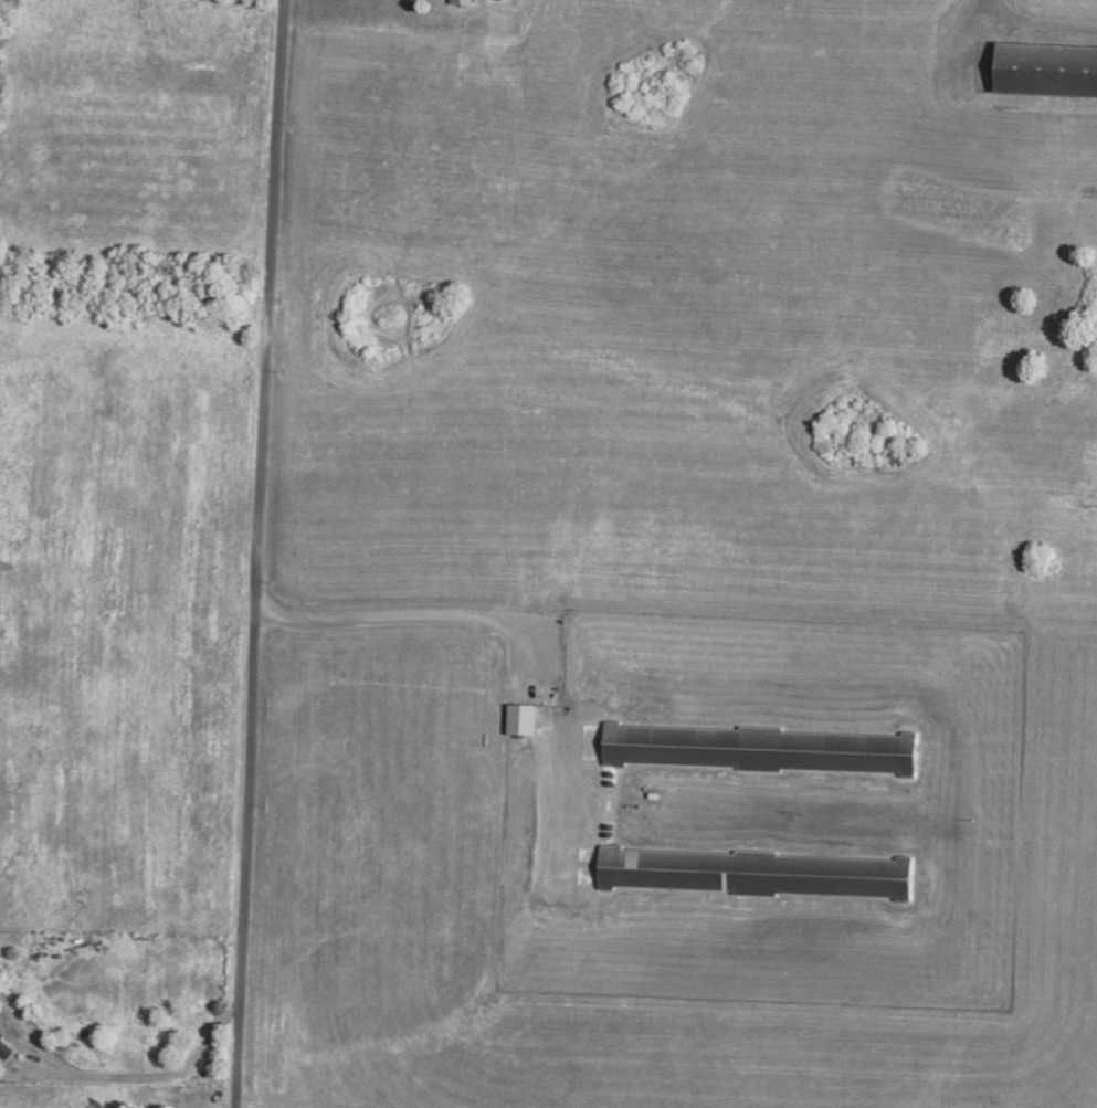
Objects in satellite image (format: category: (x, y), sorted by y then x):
building: (463, 1)
road: (991, 10)
building: (1045, 67)
road: (254, 553)
road: (418, 610)
building: (523, 718)
building: (759, 748)
building: (755, 873)
building: (6, 1049)
road: (125, 1066)
building: (199, 1107)

